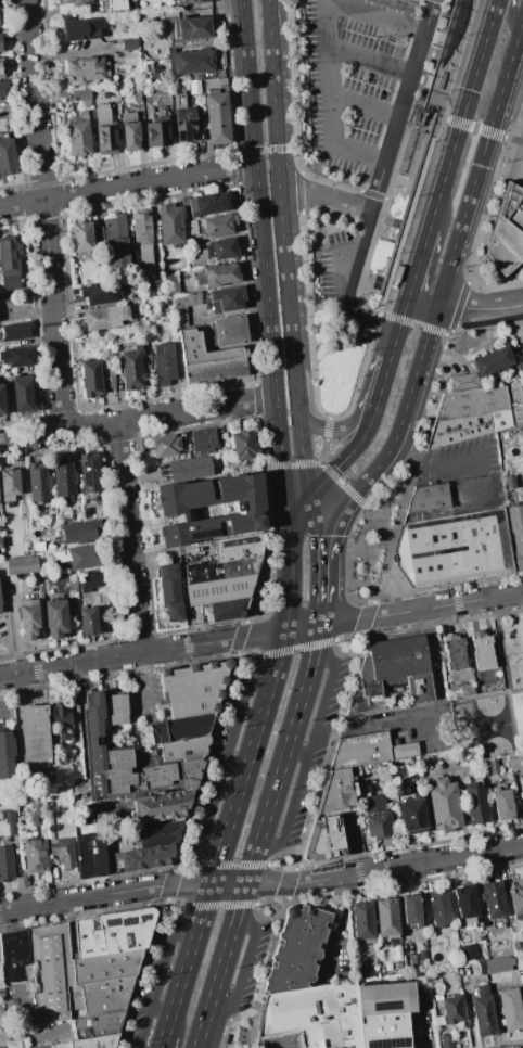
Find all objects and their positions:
building: (73, 2)
building: (191, 2)
road: (446, 2)
building: (116, 4)
road: (511, 16)
building: (81, 28)
building: (188, 29)
road: (521, 30)
building: (0, 46)
building: (129, 46)
road: (330, 49)
road: (437, 51)
building: (130, 57)
building: (189, 60)
road: (455, 60)
road: (372, 63)
building: (1, 68)
building: (86, 69)
building: (152, 75)
road: (421, 77)
parking lot: (366, 79)
road: (293, 85)
building: (195, 87)
building: (2, 91)
building: (115, 93)
building: (80, 94)
building: (137, 94)
building: (104, 95)
road: (405, 104)
road: (367, 108)
road: (462, 114)
building: (216, 117)
building: (157, 128)
road: (475, 128)
building: (184, 129)
building: (105, 131)
building: (130, 131)
building: (78, 135)
road: (406, 138)
road: (275, 149)
building: (7, 156)
road: (328, 181)
road: (127, 186)
road: (298, 190)
road: (326, 194)
road: (372, 195)
road: (258, 199)
road: (497, 200)
road: (279, 202)
building: (207, 204)
road: (384, 204)
road: (410, 207)
road: (498, 209)
road: (44, 216)
building: (114, 223)
building: (217, 225)
building: (169, 226)
building: (189, 228)
building: (143, 235)
building: (82, 238)
building: (507, 238)
building: (220, 248)
building: (117, 254)
building: (196, 257)
road: (419, 261)
building: (10, 263)
road: (367, 263)
parking lot: (343, 265)
road: (320, 269)
building: (217, 274)
road: (352, 283)
road: (441, 284)
building: (188, 290)
building: (100, 293)
road: (422, 297)
building: (225, 299)
road: (458, 305)
building: (182, 307)
road: (479, 310)
road: (404, 311)
road: (309, 316)
building: (106, 317)
road: (377, 321)
road: (414, 323)
building: (17, 331)
building: (229, 332)
building: (522, 341)
road: (394, 344)
building: (17, 356)
building: (208, 359)
building: (492, 361)
building: (164, 363)
building: (132, 369)
building: (90, 379)
road: (359, 380)
building: (464, 382)
road: (382, 385)
building: (22, 394)
building: (2, 401)
road: (259, 406)
building: (475, 413)
road: (138, 419)
road: (333, 429)
road: (324, 439)
building: (204, 442)
building: (165, 445)
building: (243, 445)
road: (357, 446)
road: (323, 465)
road: (434, 467)
road: (416, 468)
building: (189, 469)
road: (305, 471)
building: (89, 475)
road: (284, 476)
road: (392, 476)
building: (63, 477)
building: (37, 482)
building: (510, 483)
building: (9, 484)
traffic signals: (312, 494)
building: (429, 497)
building: (489, 507)
building: (89, 508)
road: (302, 510)
building: (170, 511)
road: (269, 521)
road: (380, 526)
building: (79, 532)
building: (516, 533)
traffic signals: (328, 536)
road: (129, 538)
building: (0, 542)
building: (237, 547)
building: (454, 548)
building: (80, 557)
traffic signals: (292, 557)
building: (23, 565)
road: (326, 565)
building: (219, 570)
building: (72, 577)
building: (90, 580)
building: (217, 589)
building: (170, 591)
road: (292, 593)
building: (225, 609)
road: (422, 609)
road: (323, 610)
building: (55, 617)
road: (367, 617)
building: (28, 618)
building: (88, 622)
road: (305, 627)
road: (240, 637)
road: (349, 637)
road: (299, 647)
building: (482, 650)
road: (248, 652)
building: (454, 652)
road: (143, 653)
road: (502, 660)
building: (392, 673)
road: (144, 678)
building: (193, 689)
building: (467, 689)
park: (497, 703)
building: (117, 708)
building: (60, 721)
road: (371, 721)
park: (496, 726)
building: (184, 727)
building: (34, 736)
building: (109, 736)
building: (181, 750)
building: (369, 751)
road: (330, 752)
road: (301, 753)
building: (5, 754)
road: (309, 757)
road: (227, 758)
building: (126, 762)
building: (515, 762)
road: (208, 763)
road: (238, 765)
building: (489, 767)
building: (357, 771)
building: (521, 789)
building: (335, 792)
building: (444, 804)
building: (475, 804)
building: (502, 804)
building: (160, 806)
building: (31, 813)
building: (50, 815)
building: (412, 815)
building: (377, 818)
road: (429, 819)
building: (10, 820)
building: (49, 823)
road: (231, 831)
building: (160, 833)
road: (264, 836)
building: (324, 839)
building: (118, 846)
building: (62, 852)
building: (88, 853)
building: (35, 856)
building: (146, 857)
road: (272, 859)
building: (112, 862)
building: (5, 864)
road: (203, 864)
road: (237, 865)
road: (171, 884)
road: (290, 884)
road: (261, 885)
building: (516, 897)
building: (493, 899)
building: (465, 903)
road: (224, 906)
road: (258, 907)
building: (441, 907)
building: (411, 910)
road: (183, 916)
building: (386, 918)
building: (362, 922)
road: (334, 926)
building: (125, 930)
building: (87, 938)
building: (518, 947)
building: (296, 949)
building: (397, 953)
building: (468, 953)
building: (13, 955)
building: (422, 955)
building: (411, 961)
building: (519, 962)
building: (497, 963)
building: (105, 967)
road: (246, 969)
building: (359, 969)
road: (264, 972)
building: (52, 973)
road: (142, 973)
road: (163, 975)
building: (105, 995)
building: (385, 999)
building: (418, 1002)
building: (26, 1008)
building: (12, 1009)
road: (164, 1009)
building: (451, 1009)
building: (510, 1009)
building: (1, 1010)
building: (483, 1012)
road: (468, 1015)
building: (310, 1017)
road: (231, 1023)
building: (97, 1024)
building: (383, 1031)
road: (166, 1039)
building: (446, 1040)
building: (86, 1041)
parking lot: (278, 1041)
road: (277, 1043)
parking lot: (3, 1046)

